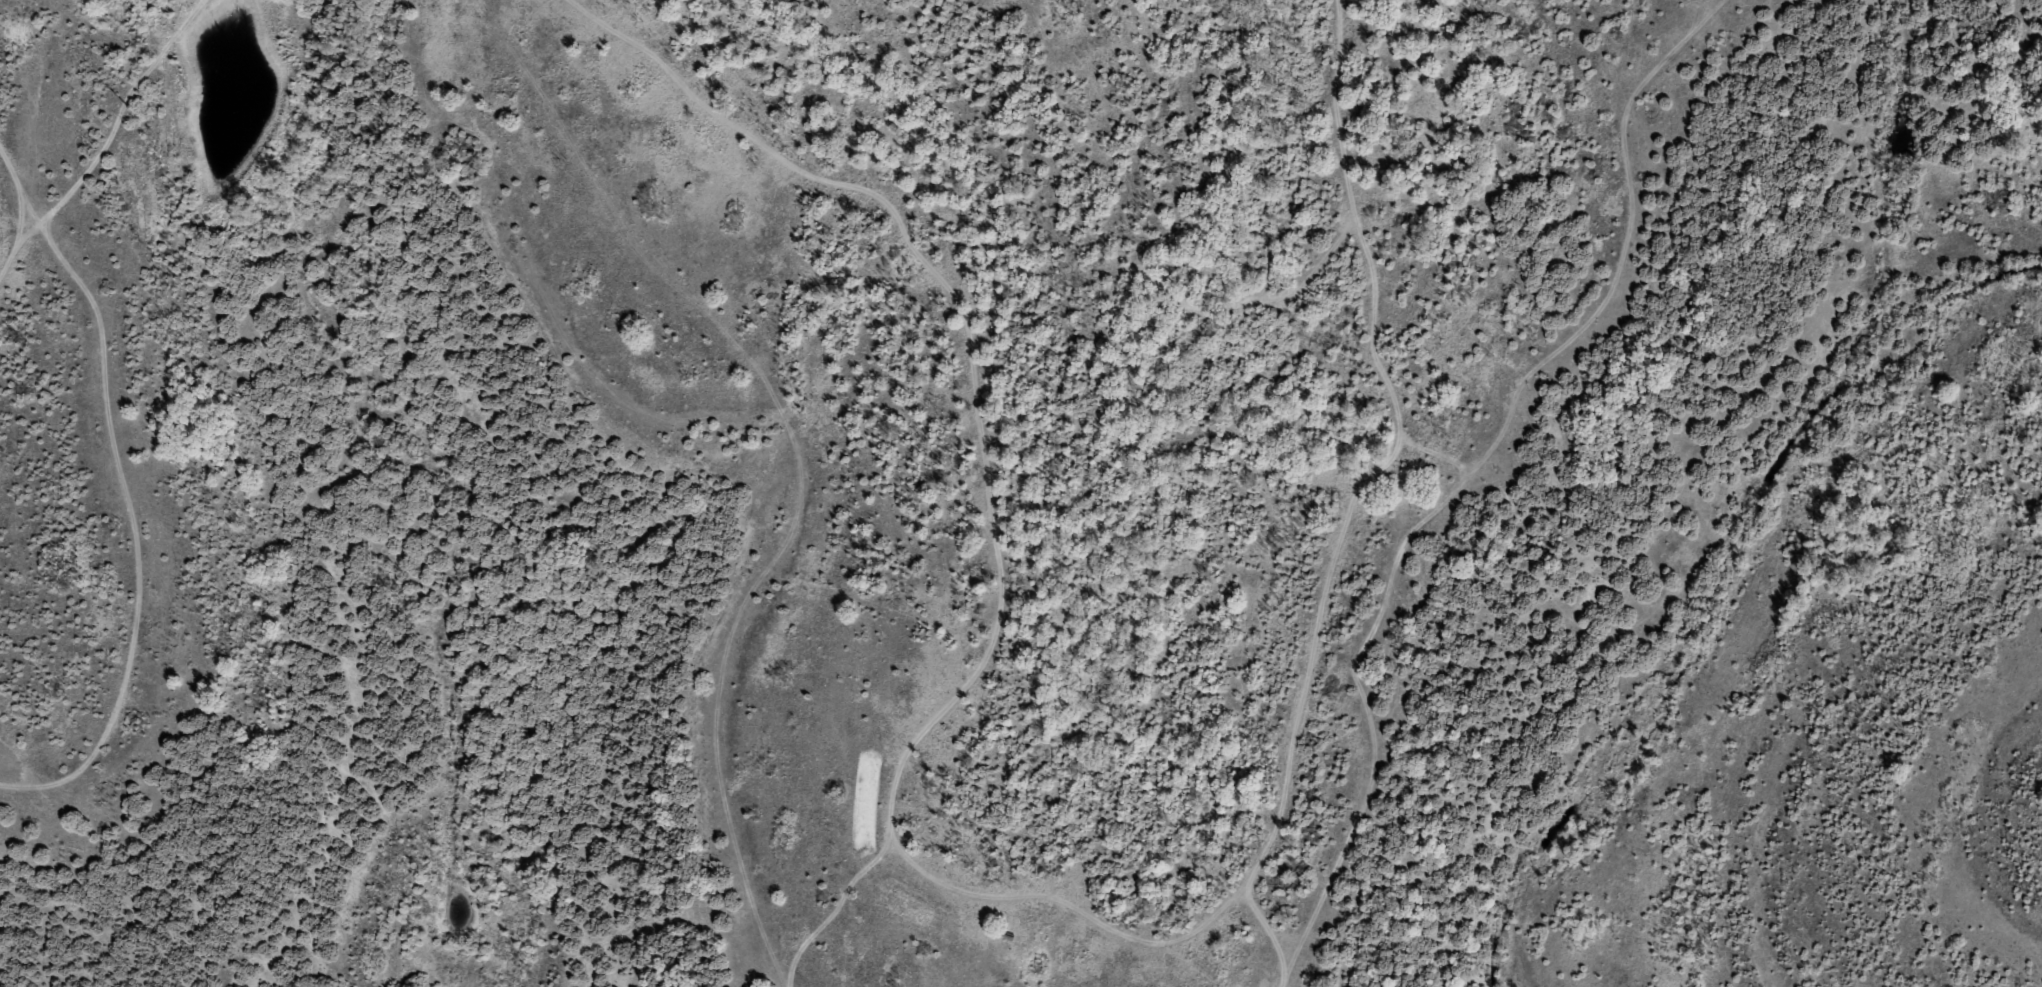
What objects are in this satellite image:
power tower: (137, 114)

